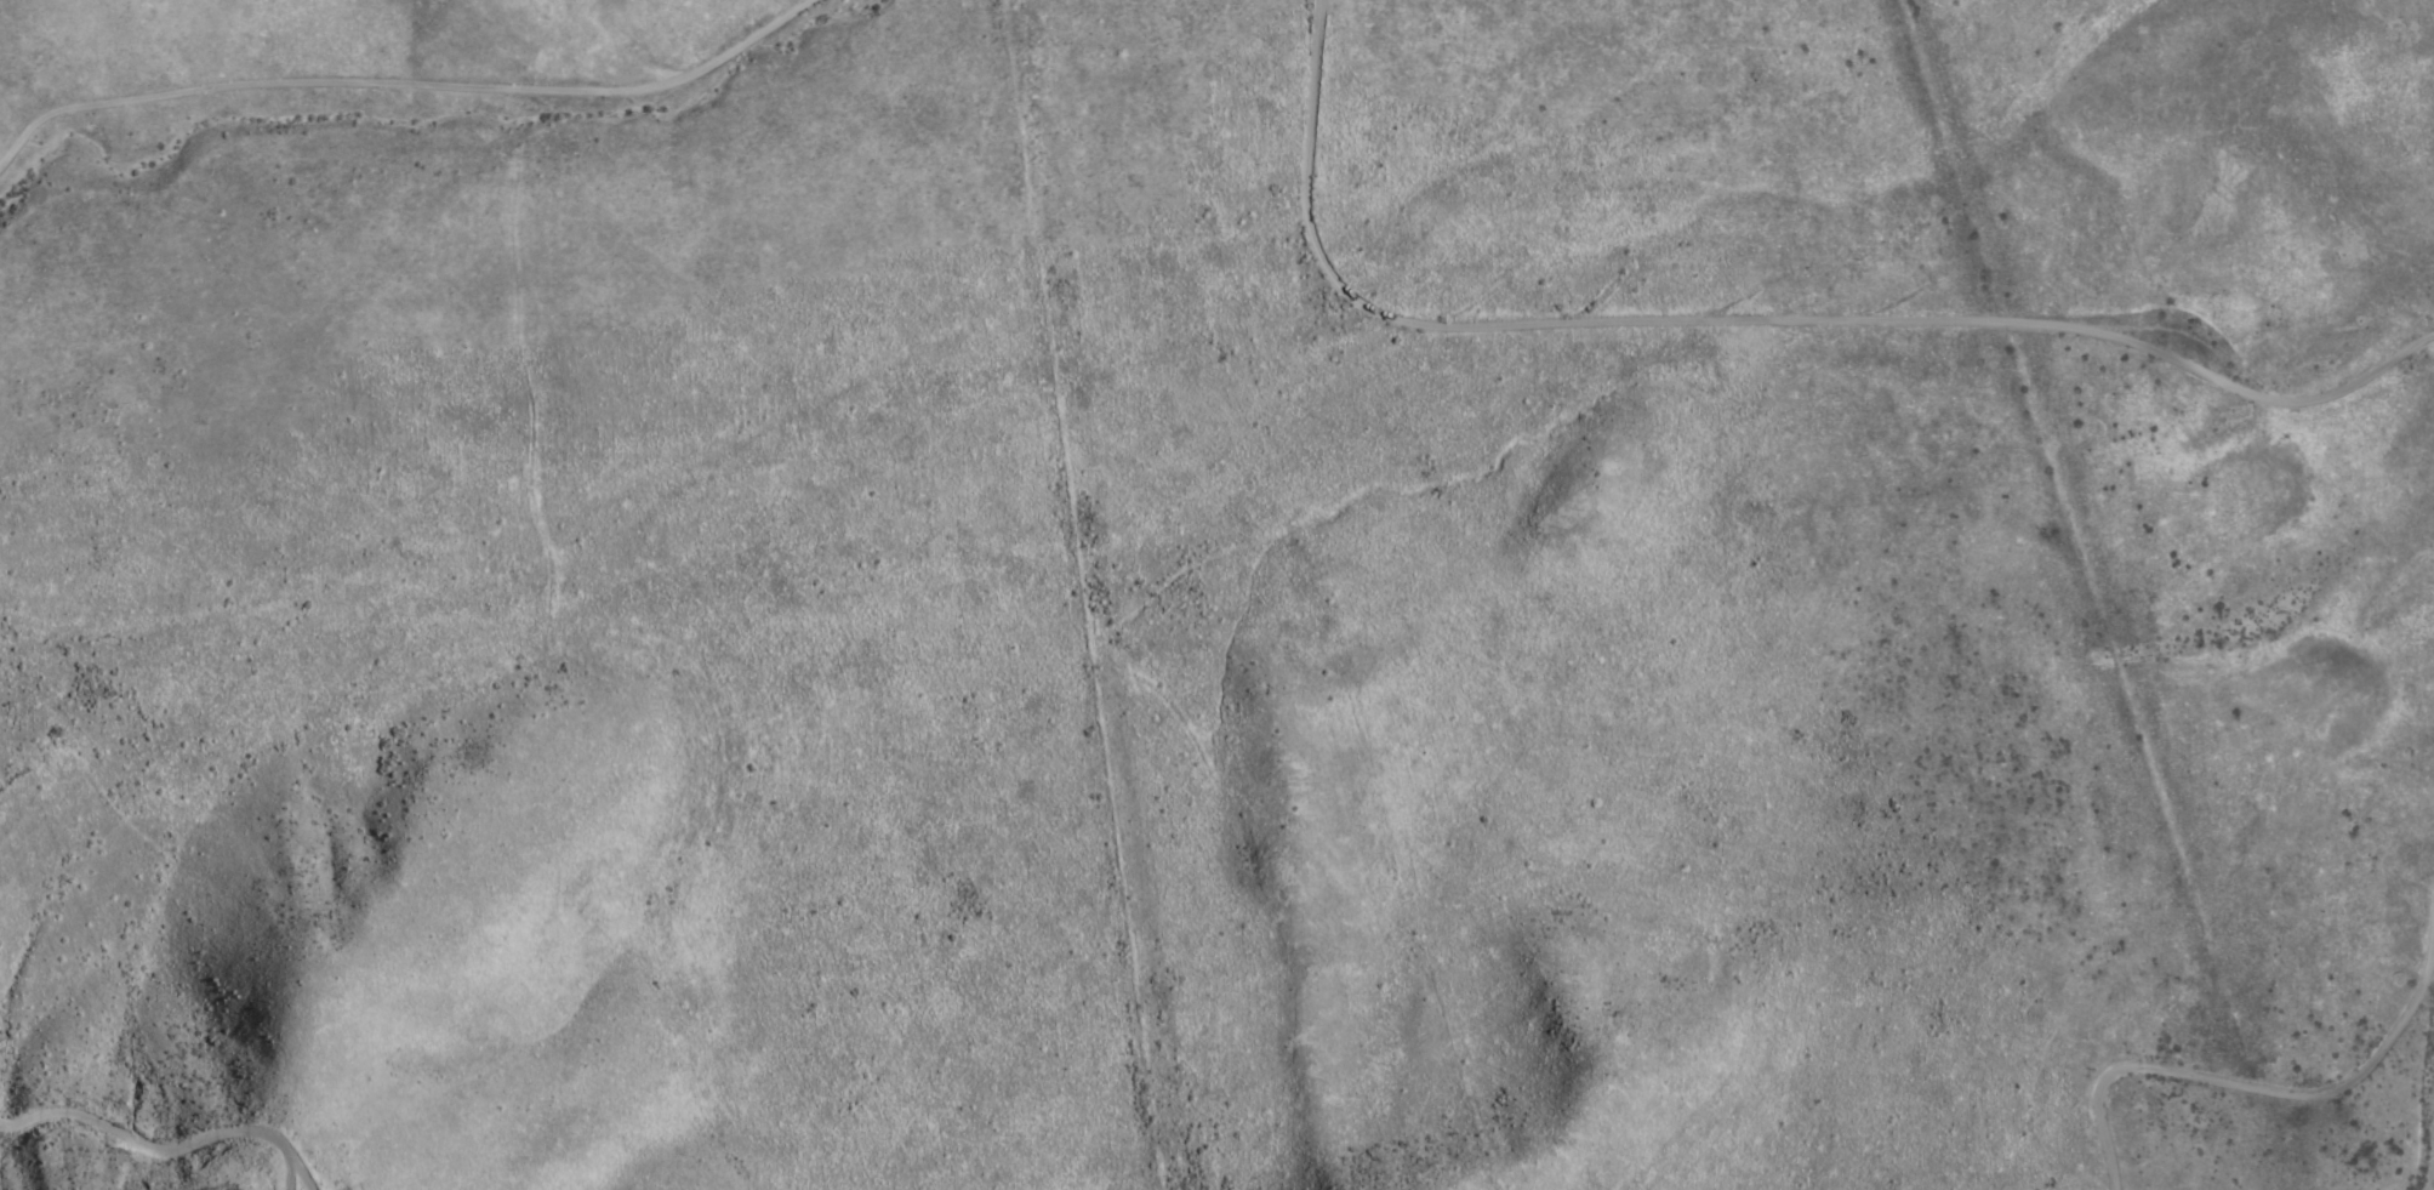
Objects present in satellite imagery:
road: (404, 85)
road: (1506, 330)
road: (2200, 377)
road: (2252, 1091)
road: (164, 1146)

